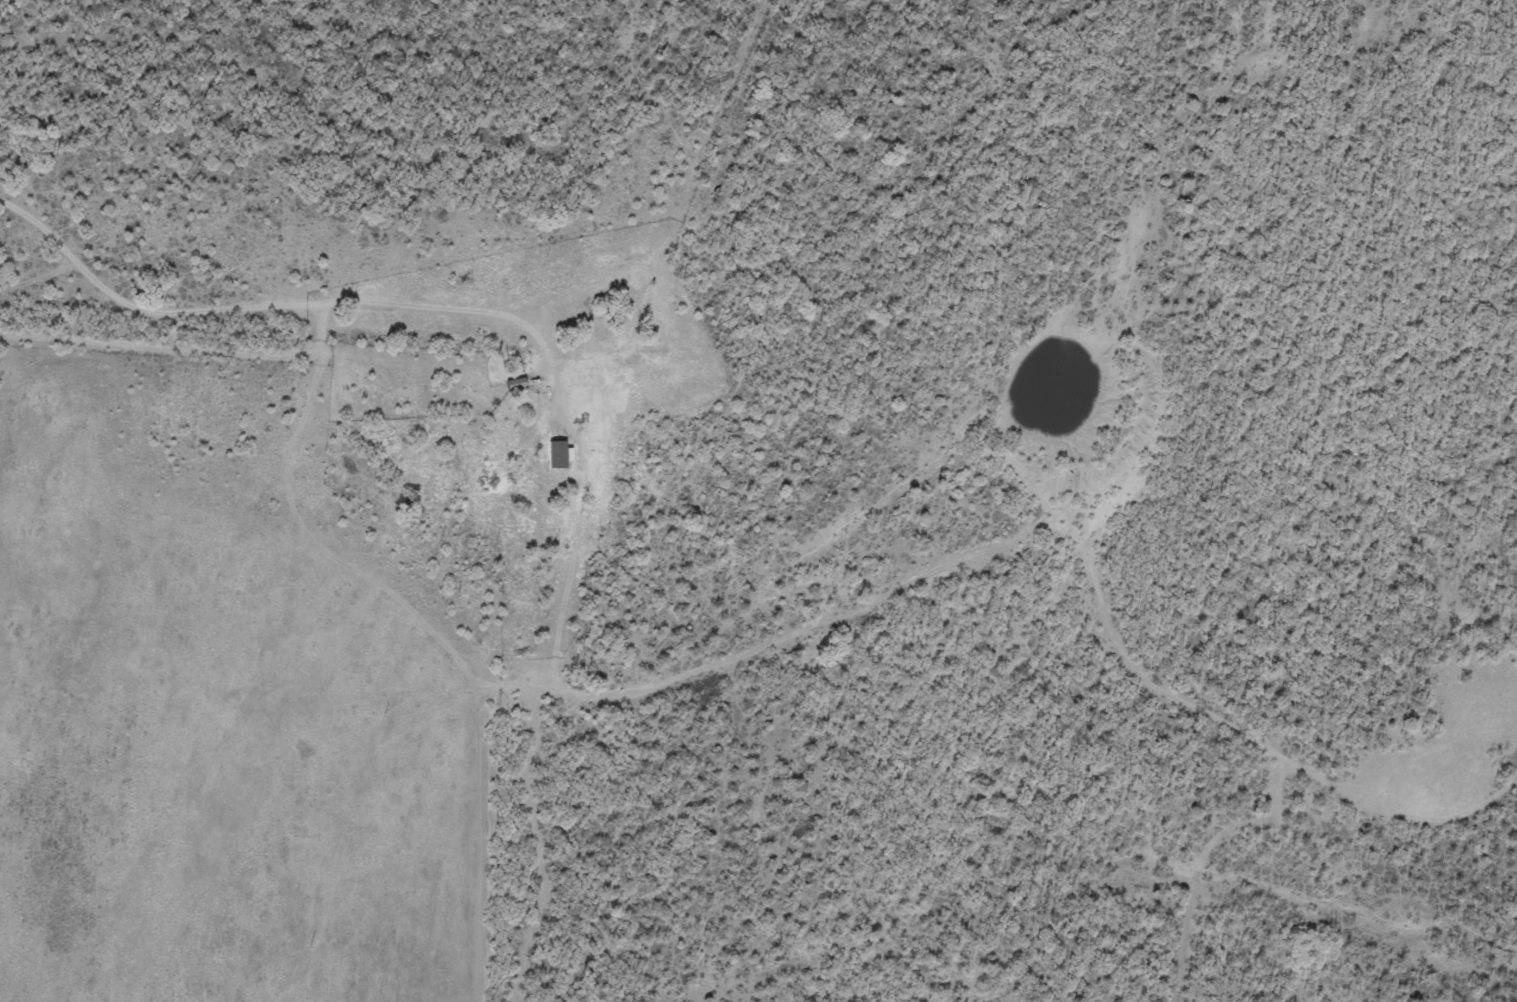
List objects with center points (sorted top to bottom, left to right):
road: (292, 313)
building: (558, 465)

